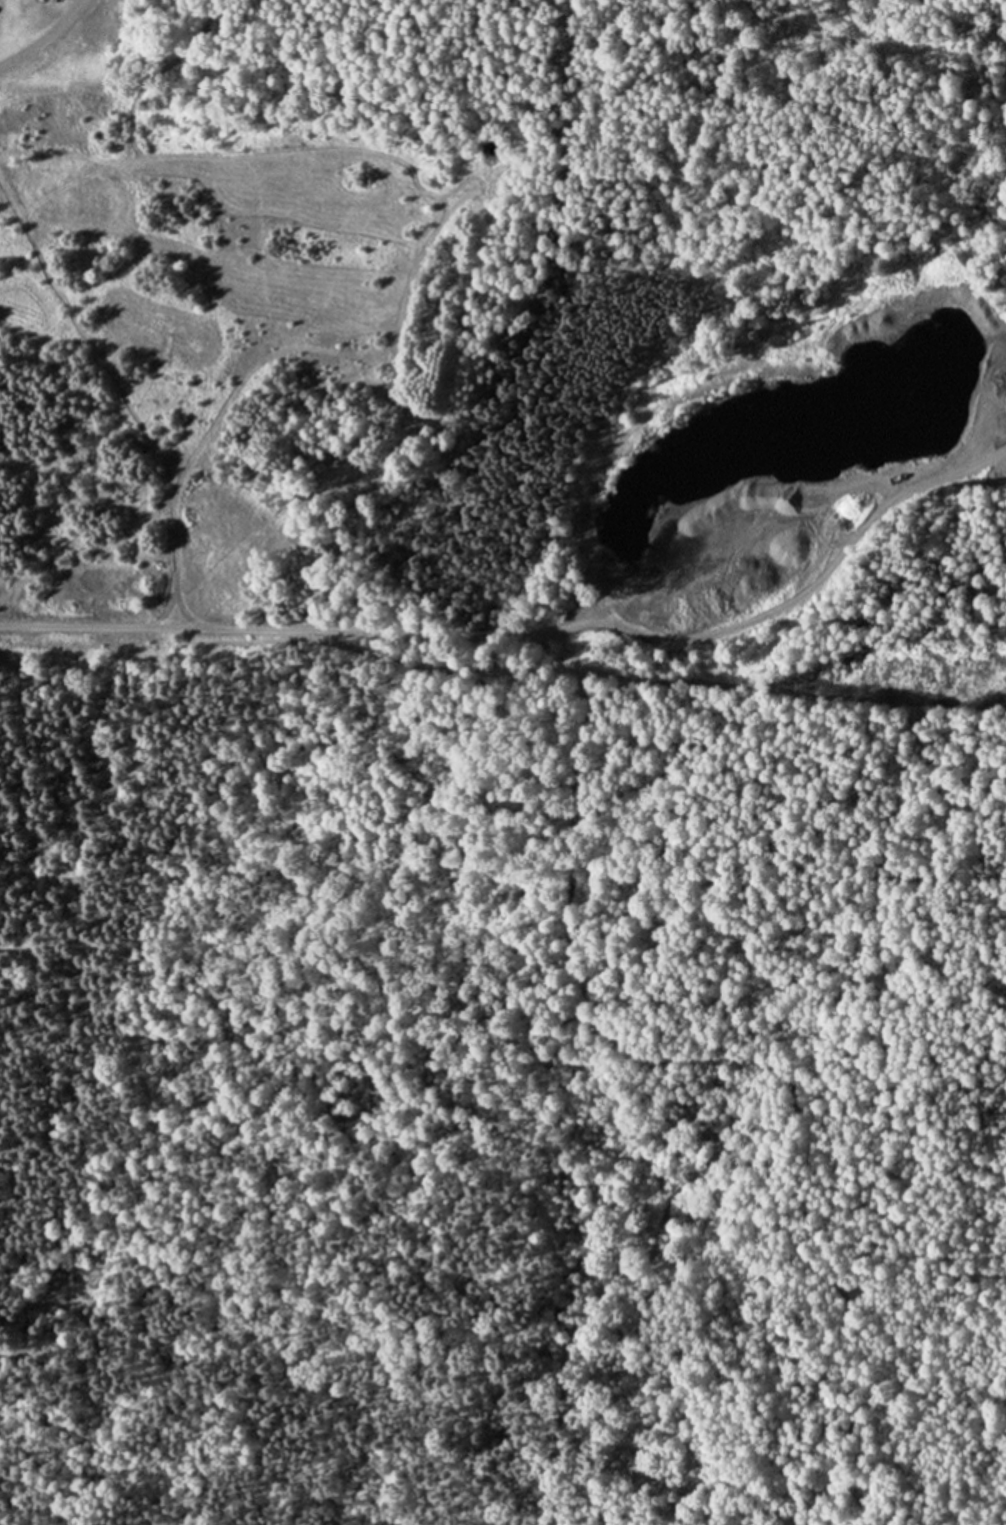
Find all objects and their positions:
road: (47, 37)
quarry: (777, 475)
road: (344, 633)

